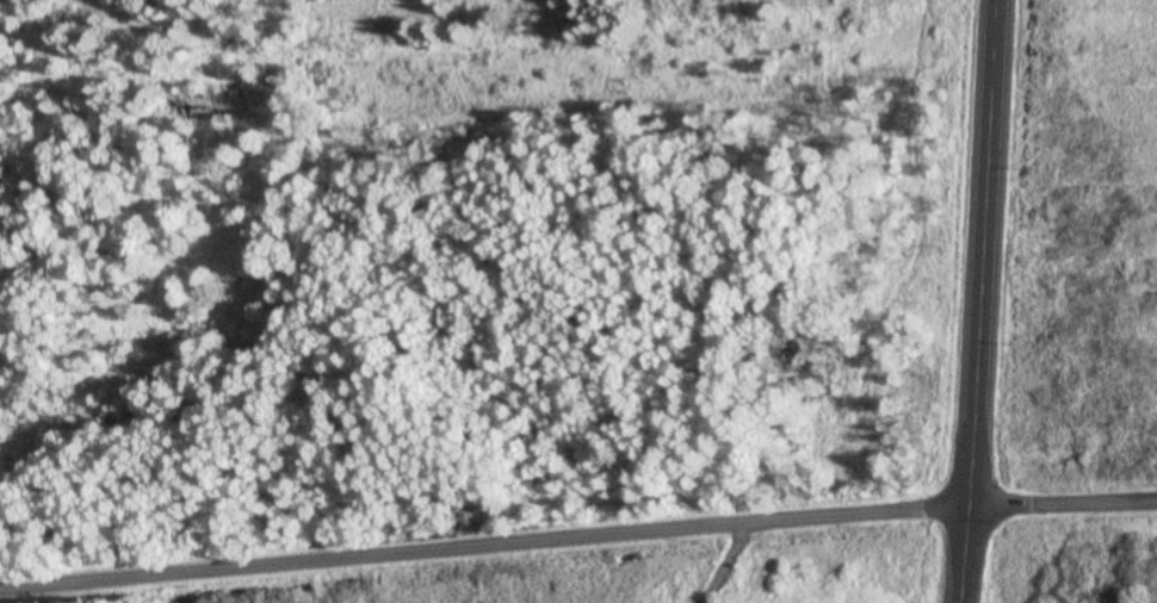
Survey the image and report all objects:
road: (966, 301)
road: (1056, 516)
road: (536, 530)

